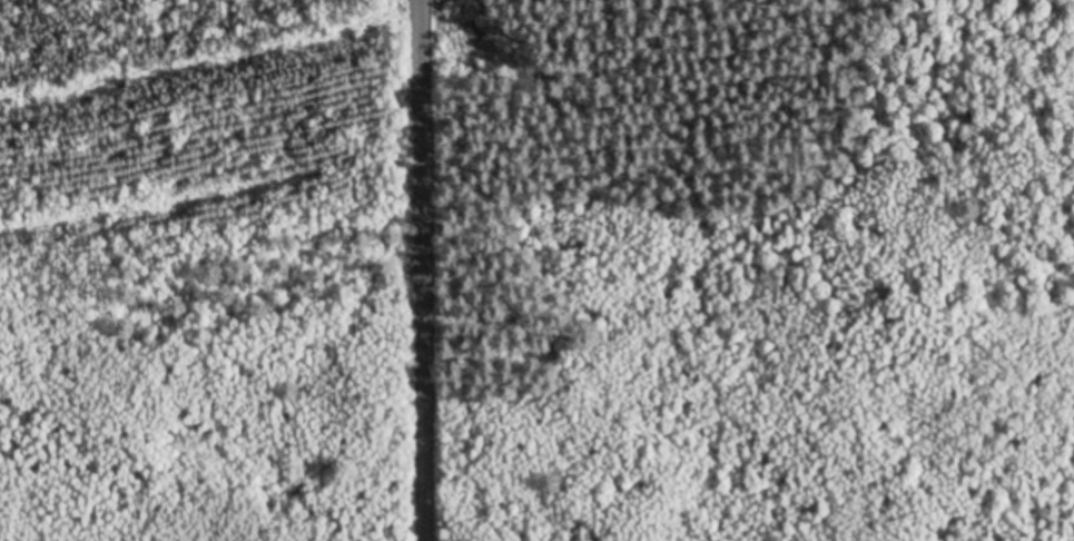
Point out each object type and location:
road: (430, 269)

